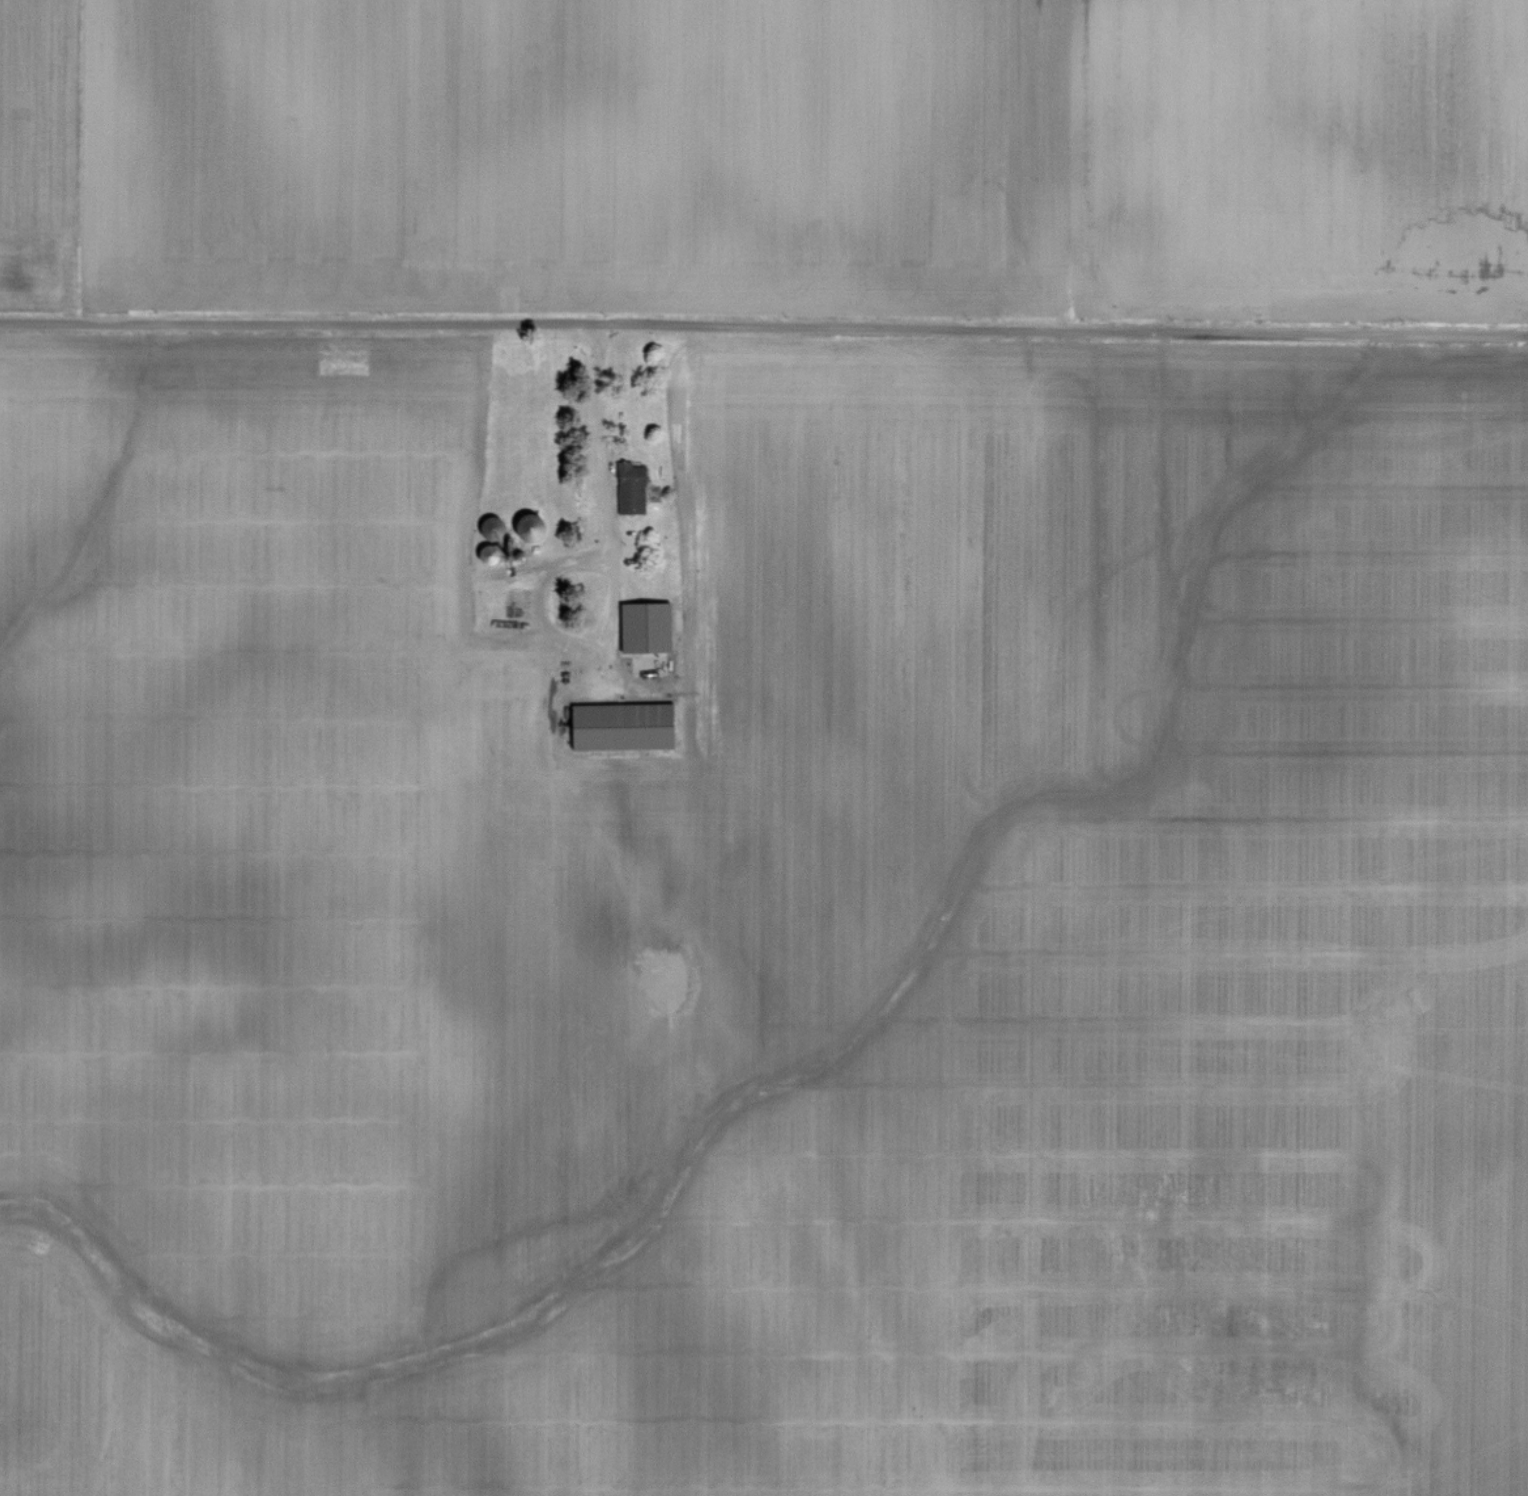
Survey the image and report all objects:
road: (764, 326)
road: (607, 505)

